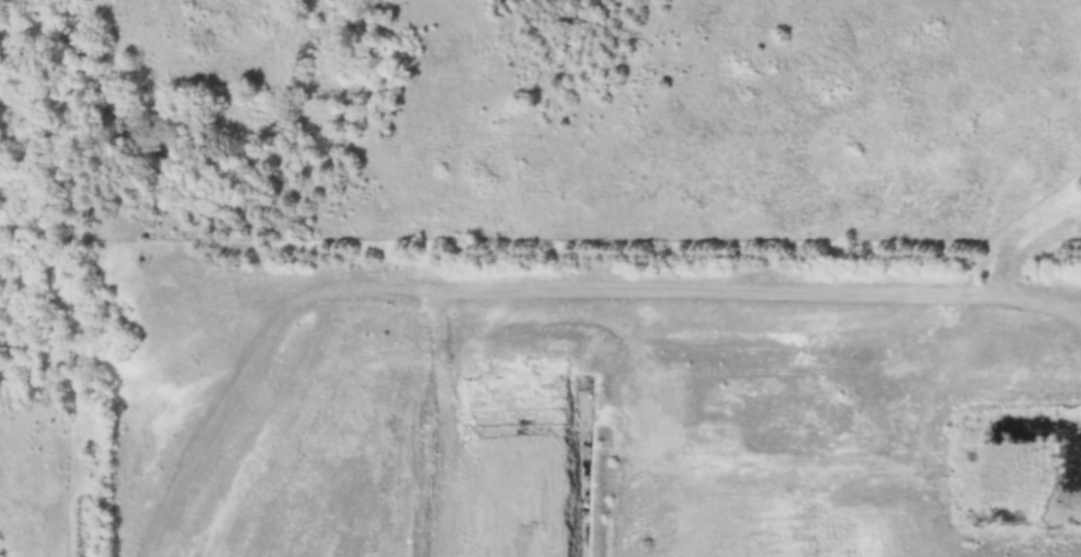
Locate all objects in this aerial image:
building: (934, 466)

